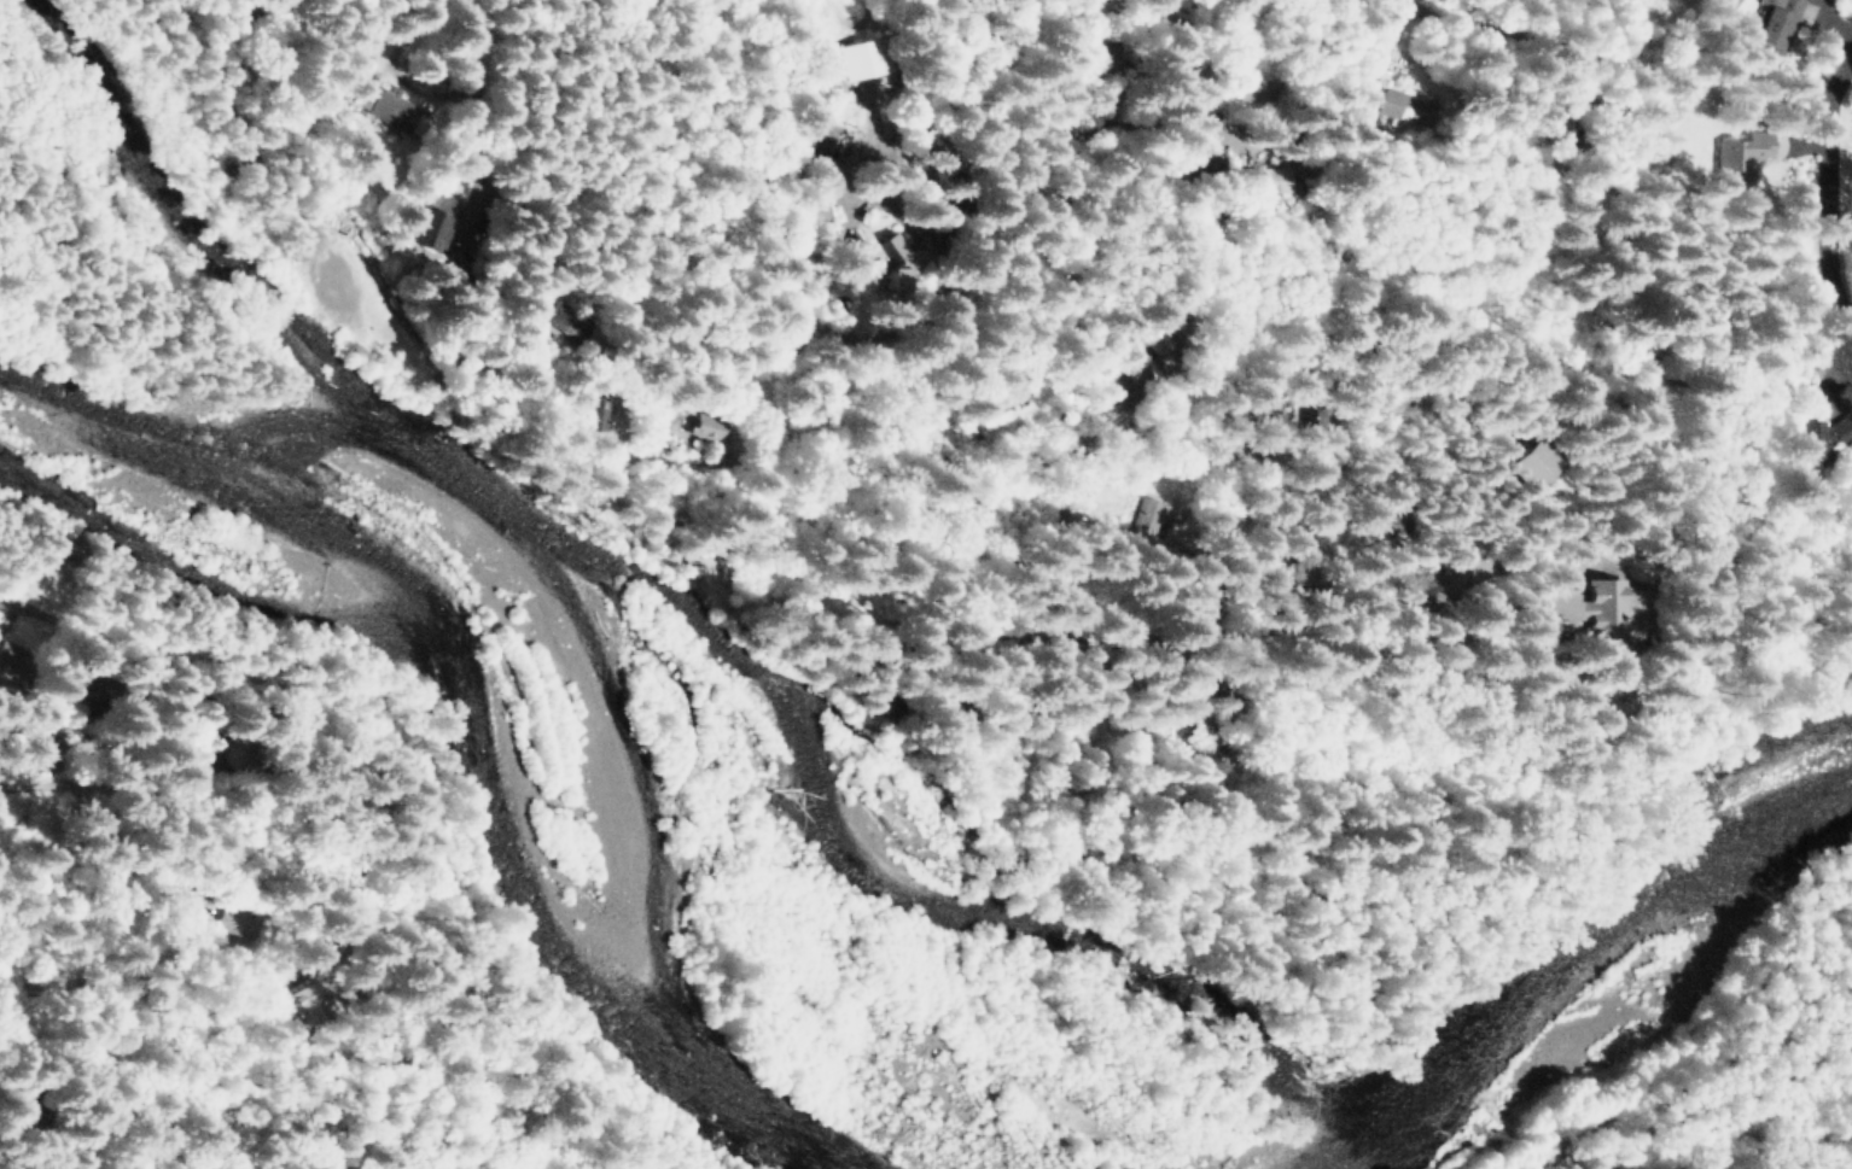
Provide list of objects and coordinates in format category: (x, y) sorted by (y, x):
building: (1774, 24)
road: (1137, 30)
road: (1496, 35)
road: (1627, 39)
road: (1161, 53)
building: (856, 59)
road: (479, 103)
building: (1404, 107)
building: (396, 111)
road: (1199, 136)
building: (1735, 159)
building: (1265, 180)
road: (1831, 191)
road: (1160, 203)
building: (433, 221)
building: (895, 252)
building: (889, 280)
road: (1134, 304)
road: (1068, 312)
building: (564, 322)
road: (1030, 351)
building: (1132, 368)
building: (992, 415)
building: (706, 426)
building: (1815, 442)
building: (1528, 464)
road: (810, 466)
road: (1210, 468)
building: (1142, 522)
building: (1577, 603)
road: (1053, 626)
river: (546, 650)
building: (11, 655)
road: (202, 672)
building: (98, 692)
road: (1064, 701)
road: (110, 737)
road: (245, 887)
building: (243, 922)
river: (1574, 960)
building: (308, 999)
road: (181, 1122)

